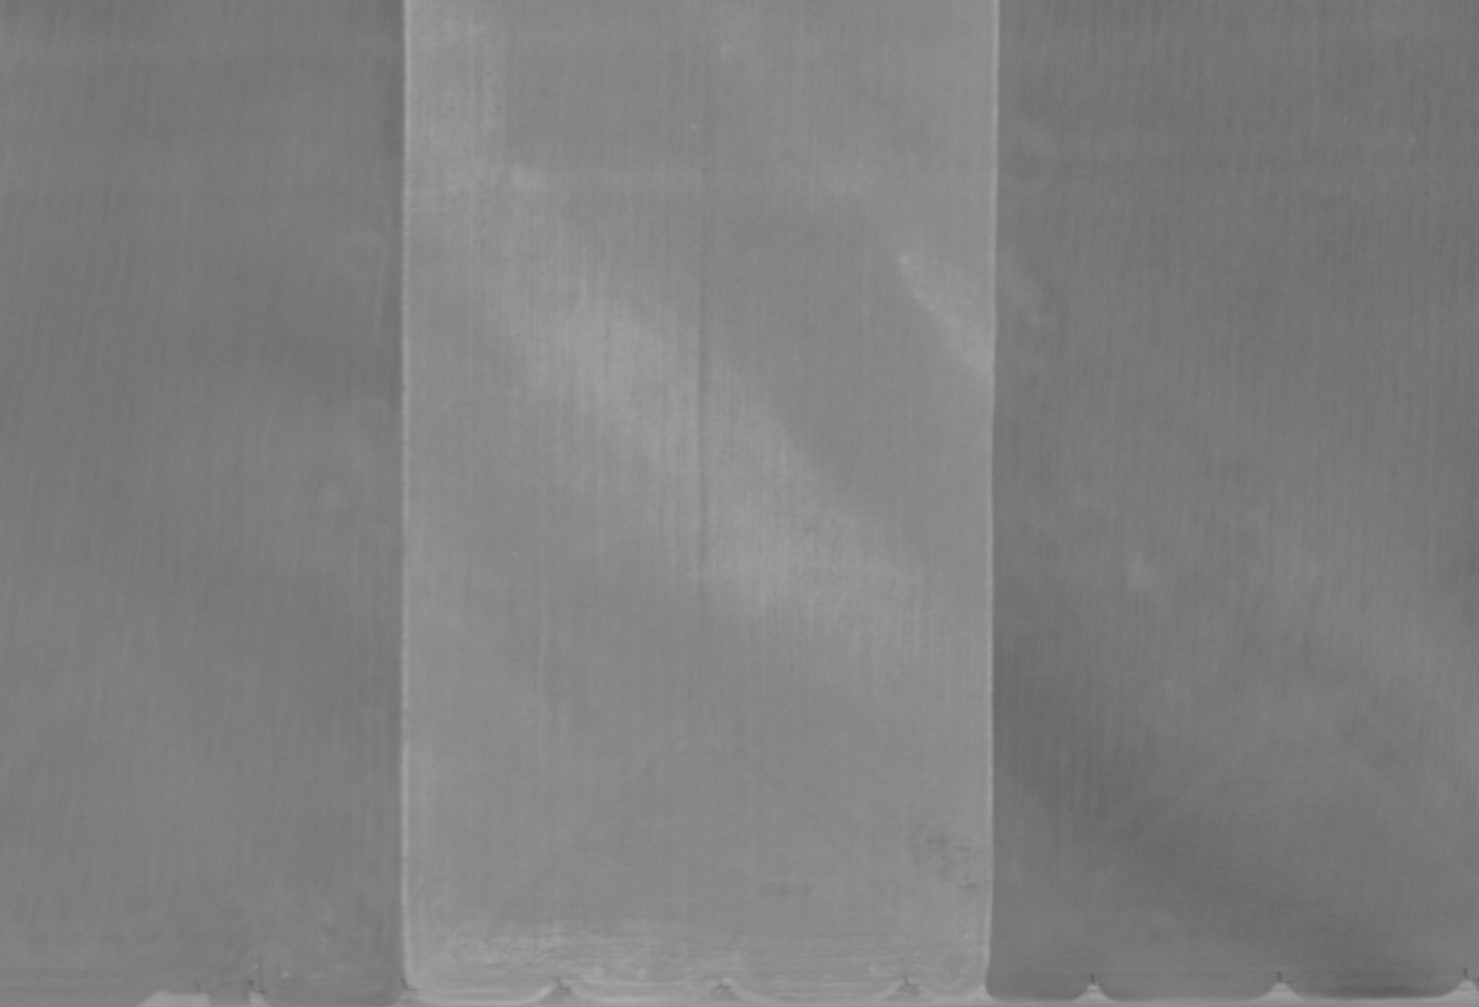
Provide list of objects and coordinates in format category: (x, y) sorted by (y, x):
crop: (737, 498)

